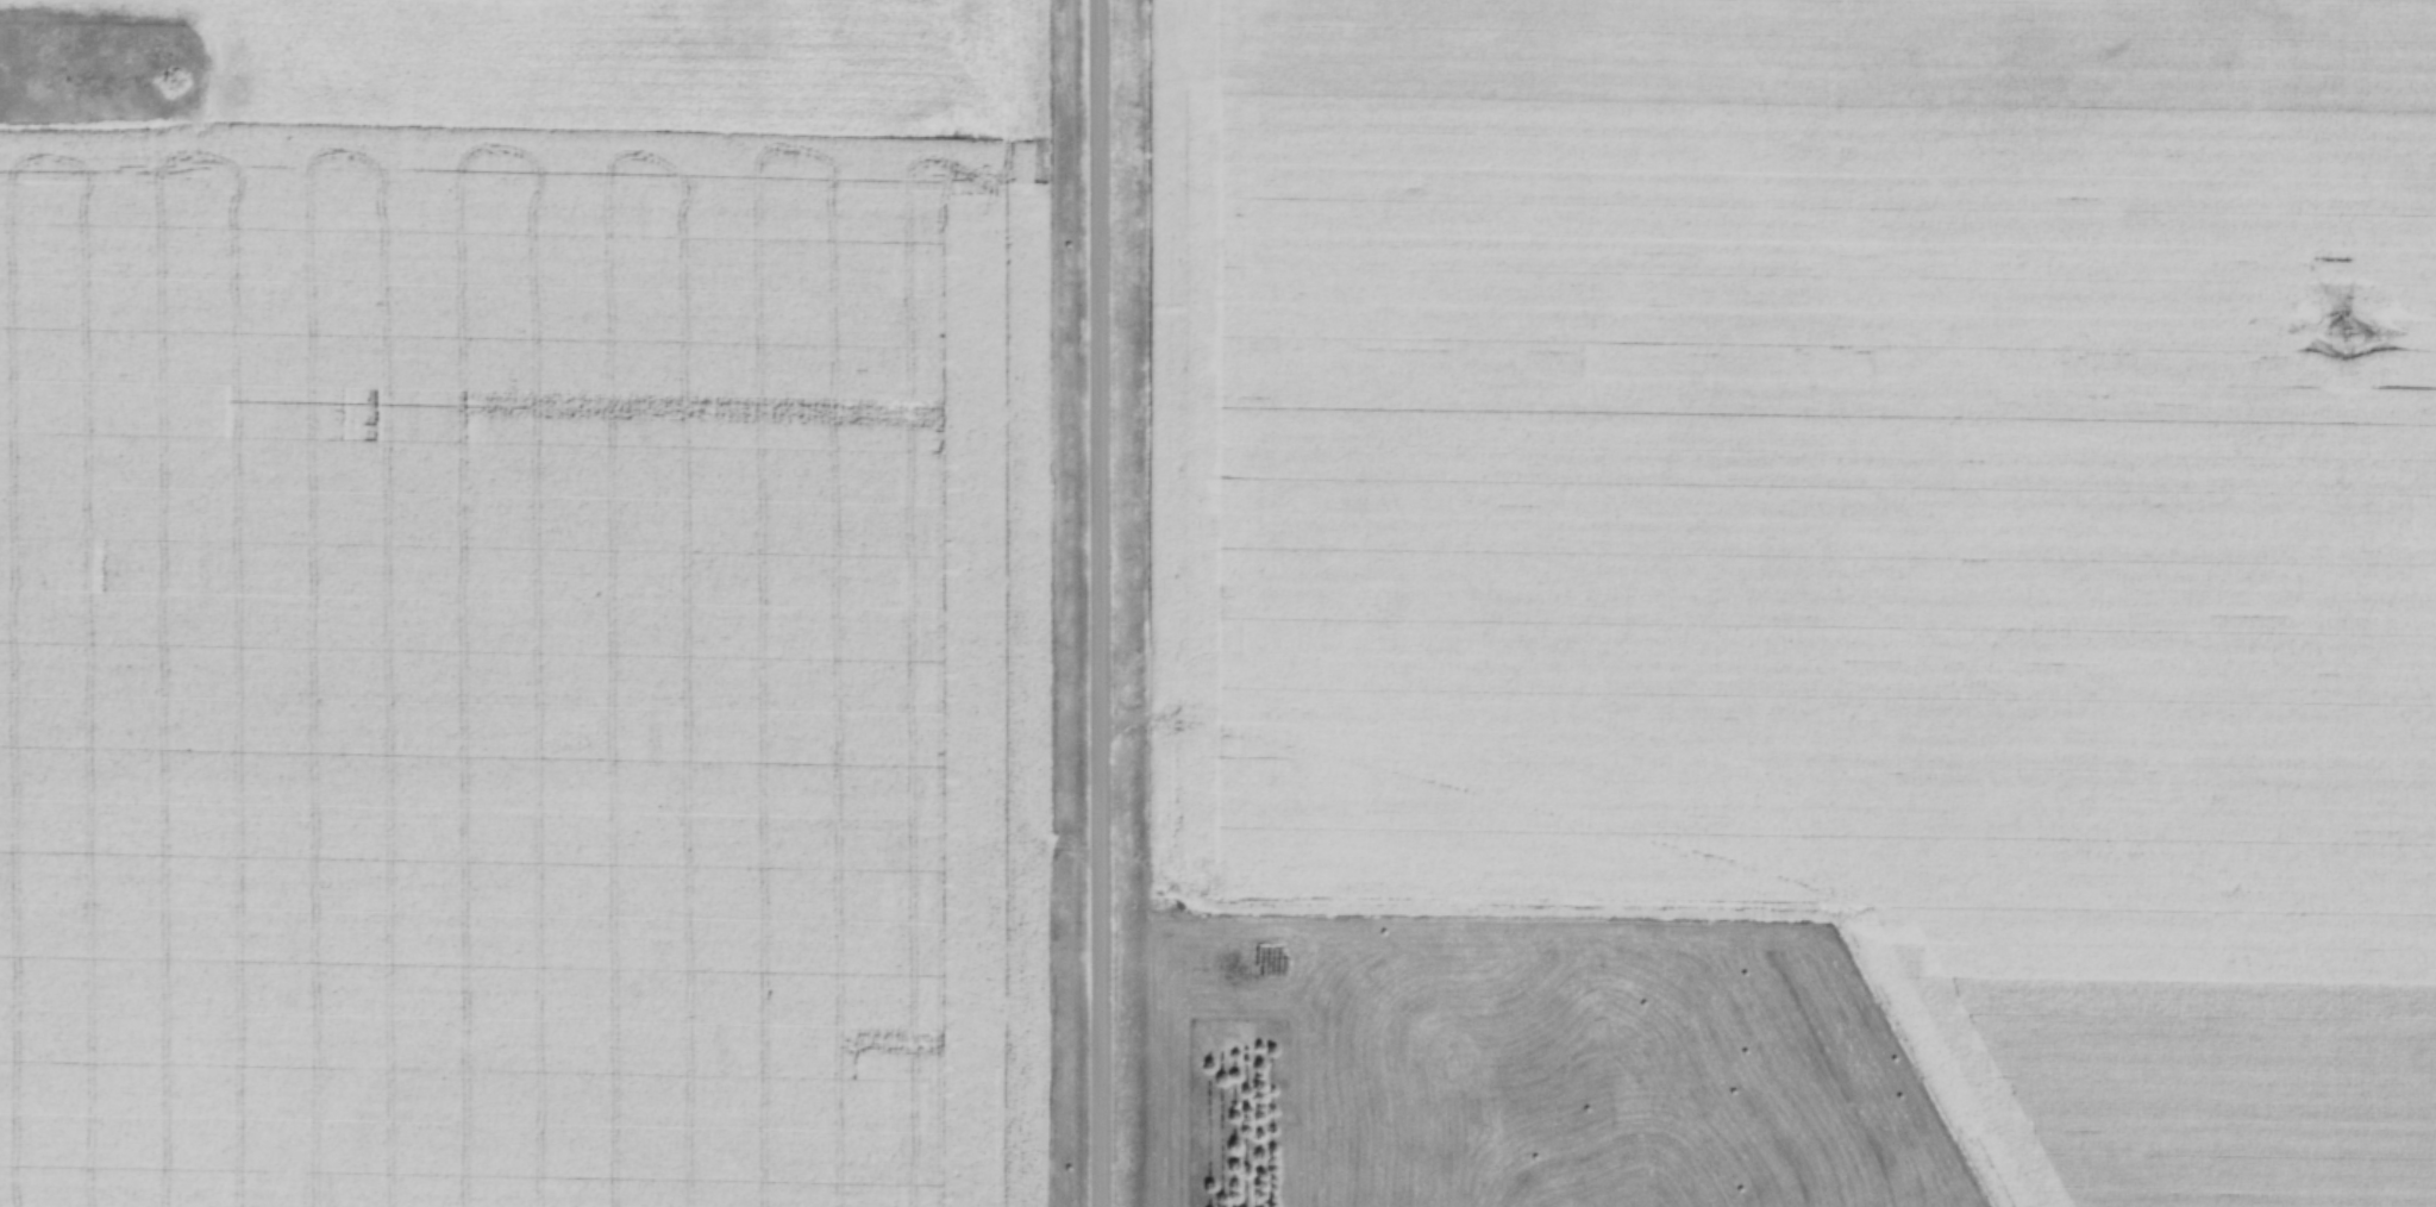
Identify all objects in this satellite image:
power tower: (2347, 329)
road: (1095, 603)

